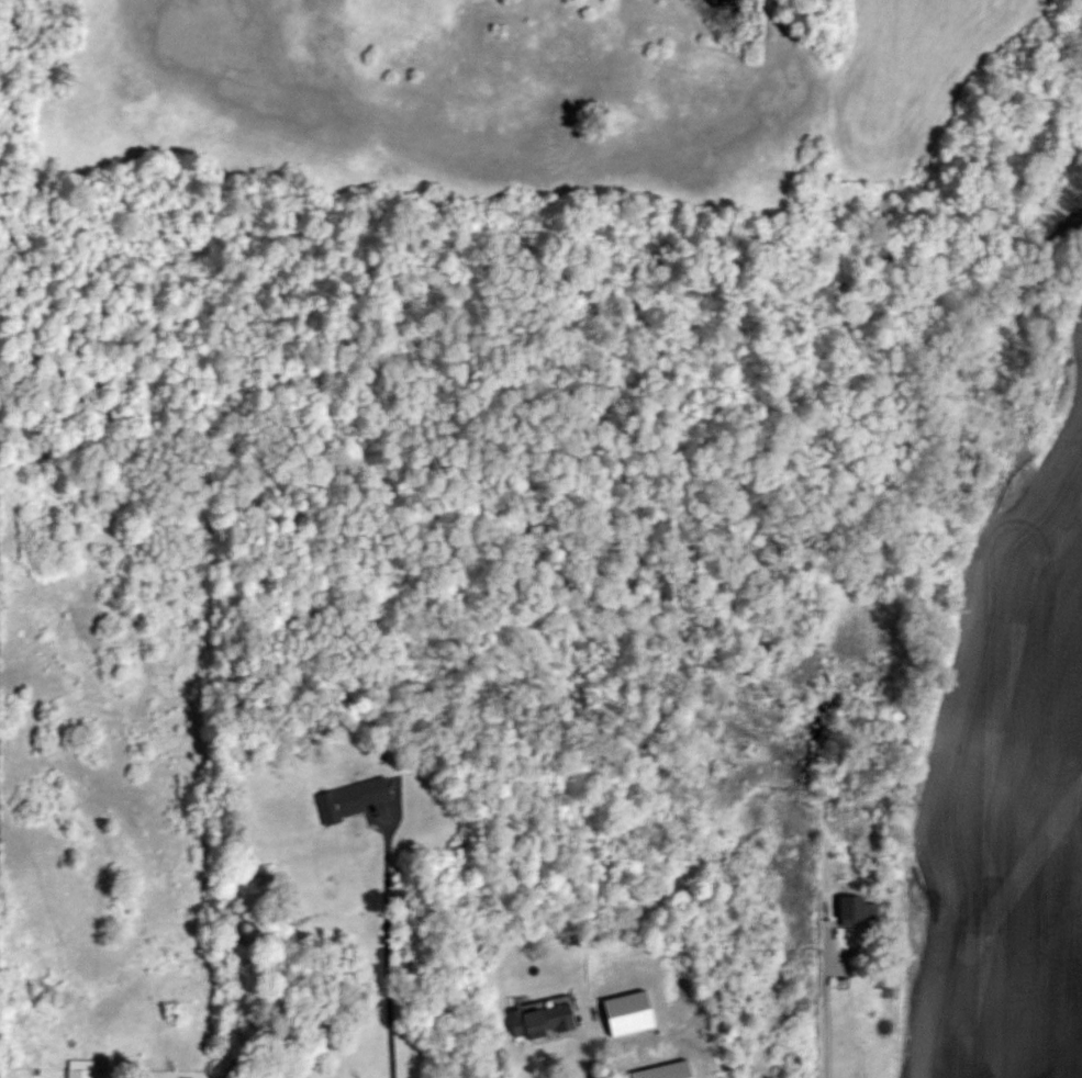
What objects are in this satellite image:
road: (824, 587)
building: (354, 798)
building: (852, 910)
road: (389, 942)
building: (544, 1019)
road: (585, 1048)
building: (80, 1074)

